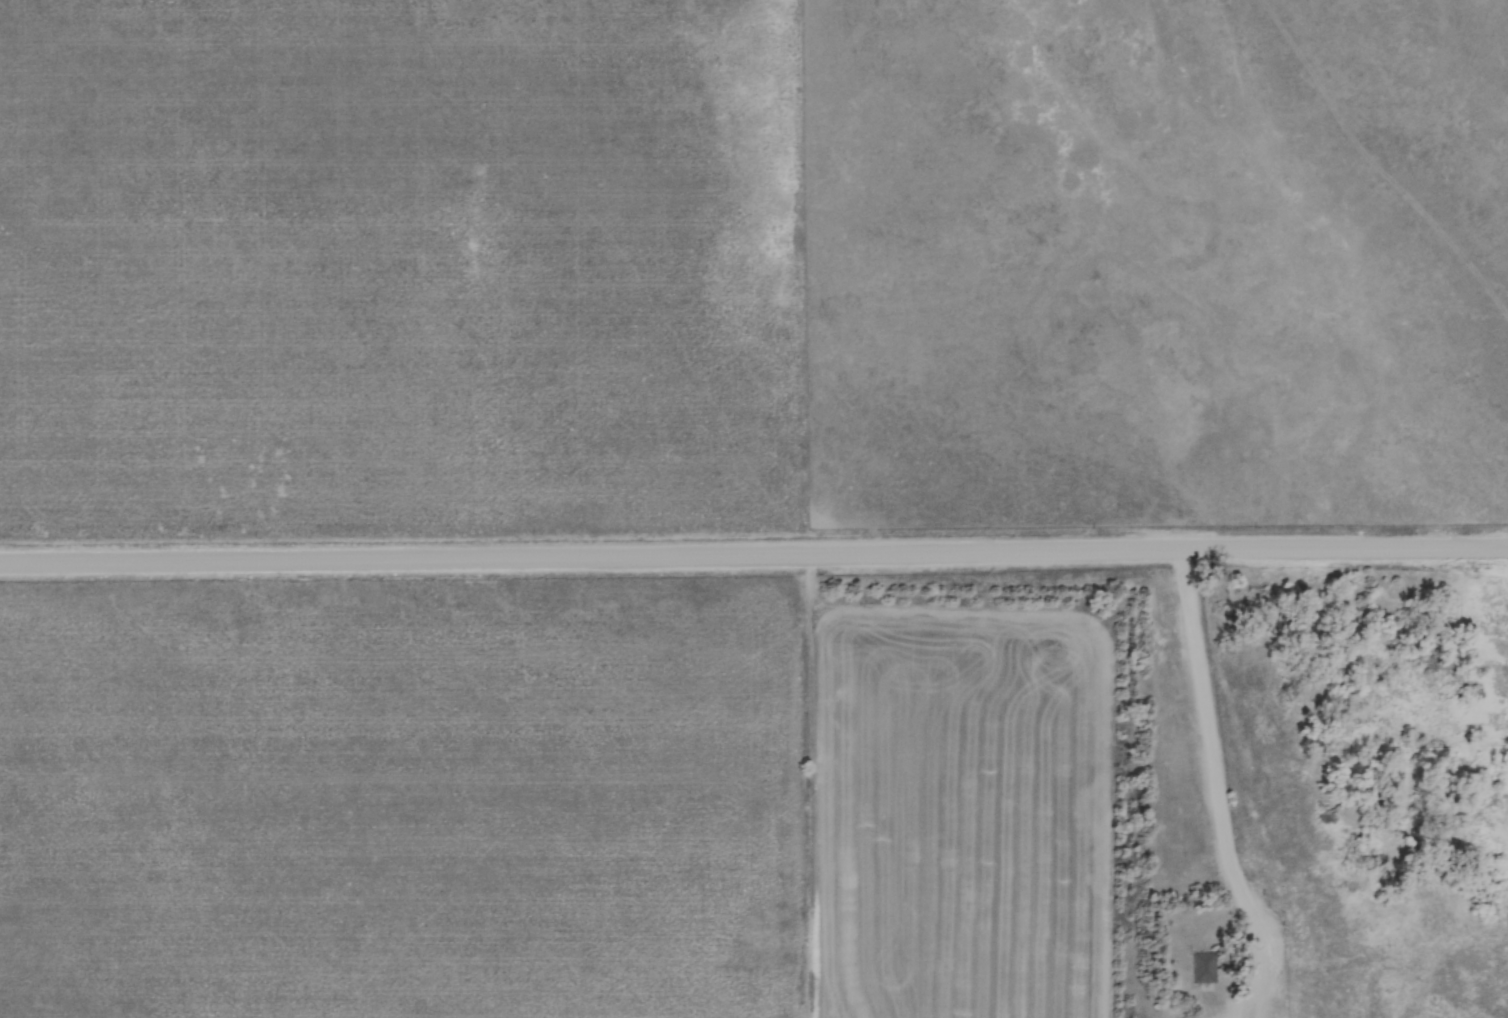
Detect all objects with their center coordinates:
road: (753, 554)
road: (1220, 791)

